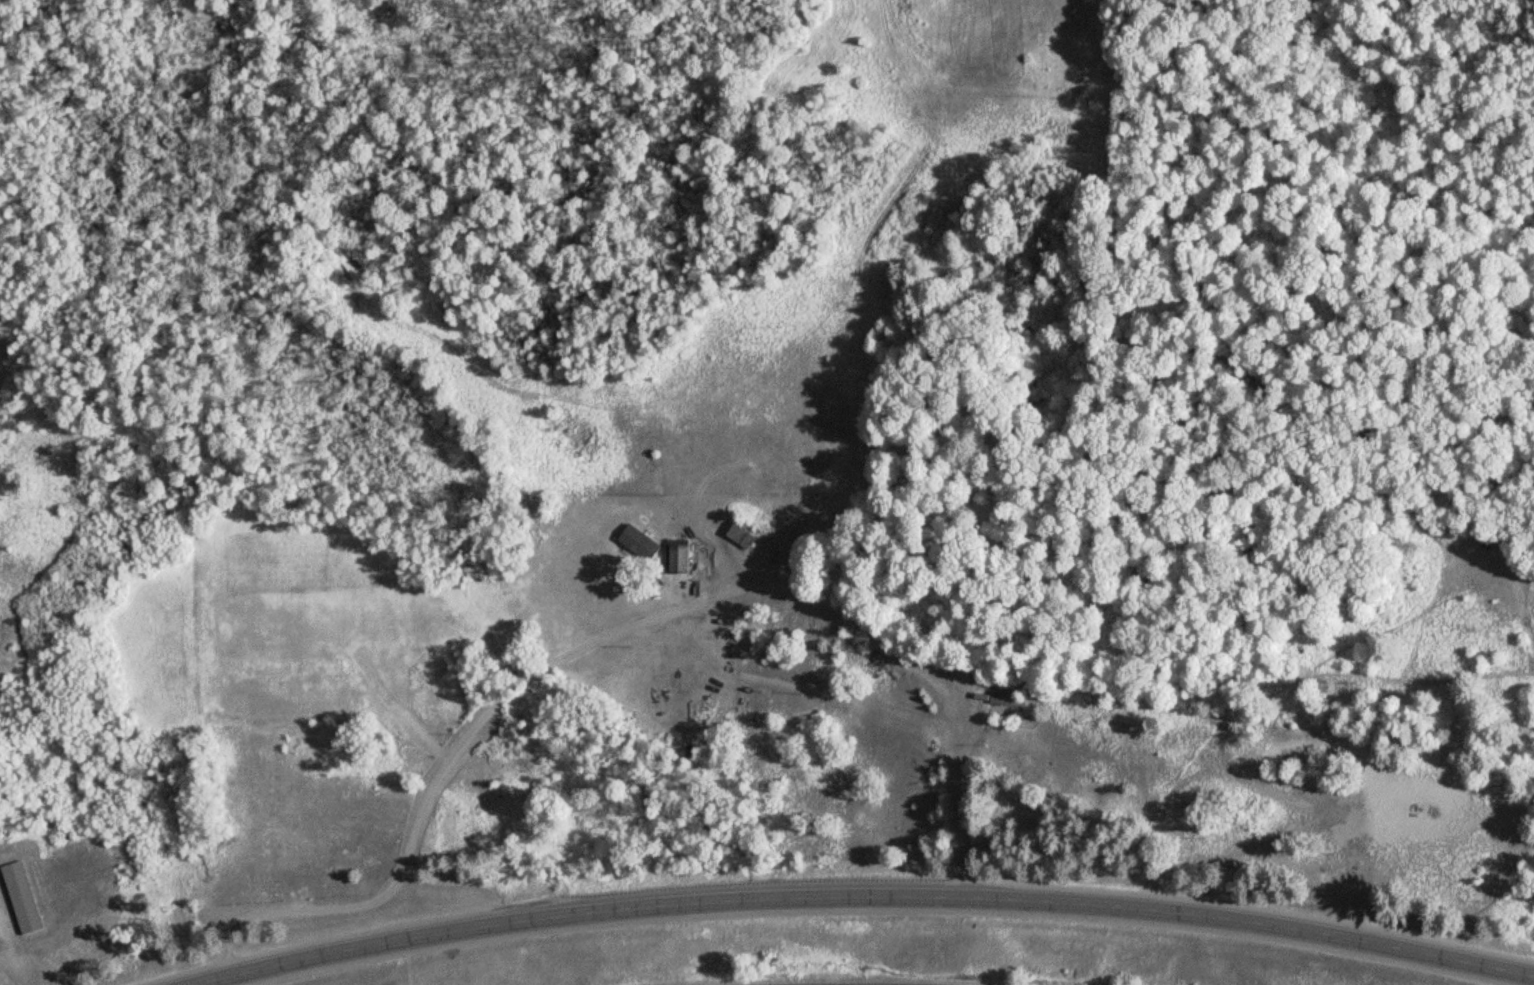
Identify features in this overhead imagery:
building: (747, 533)
building: (642, 543)
building: (682, 559)
building: (1008, 706)
road: (865, 896)
building: (24, 897)

